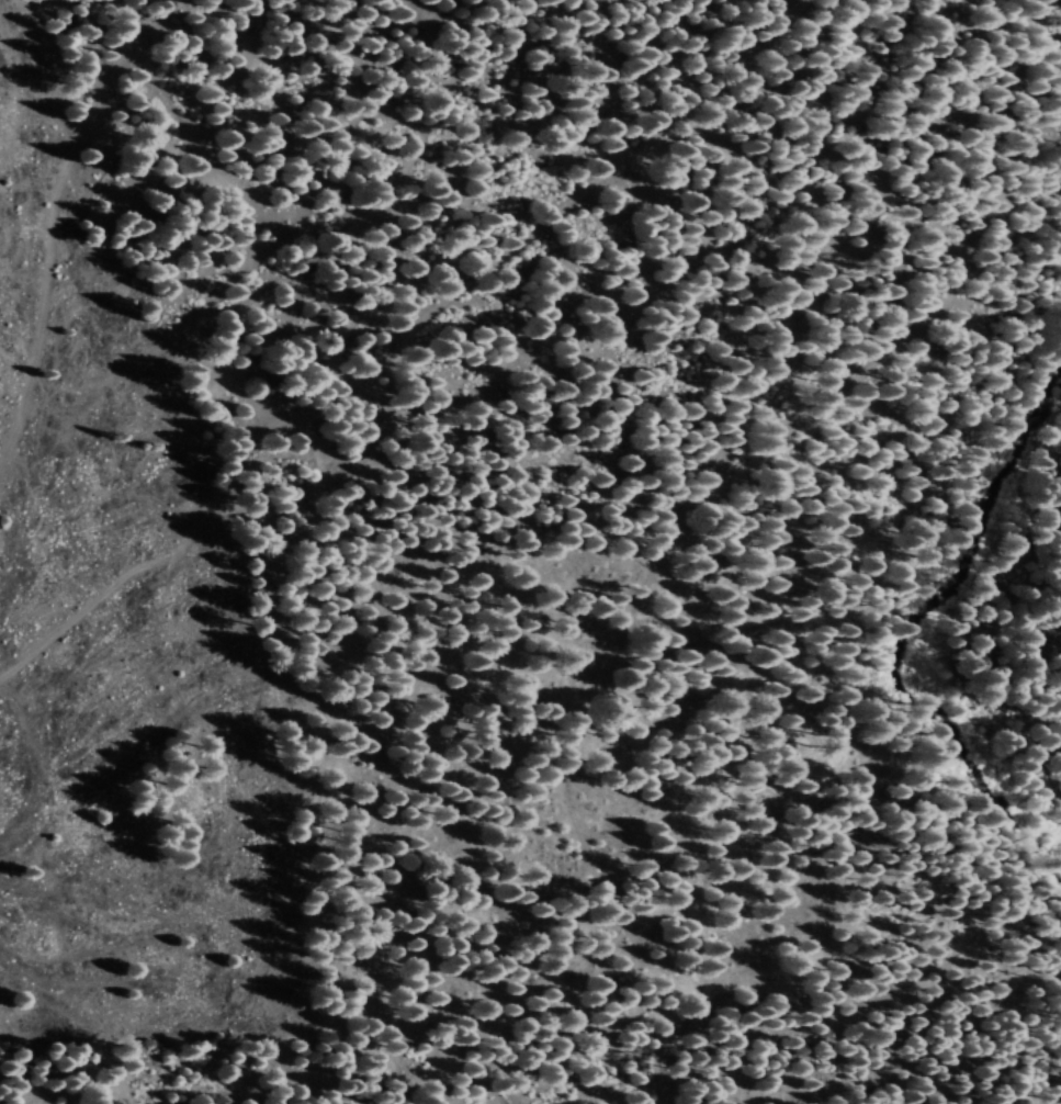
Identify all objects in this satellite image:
road: (689, 579)

